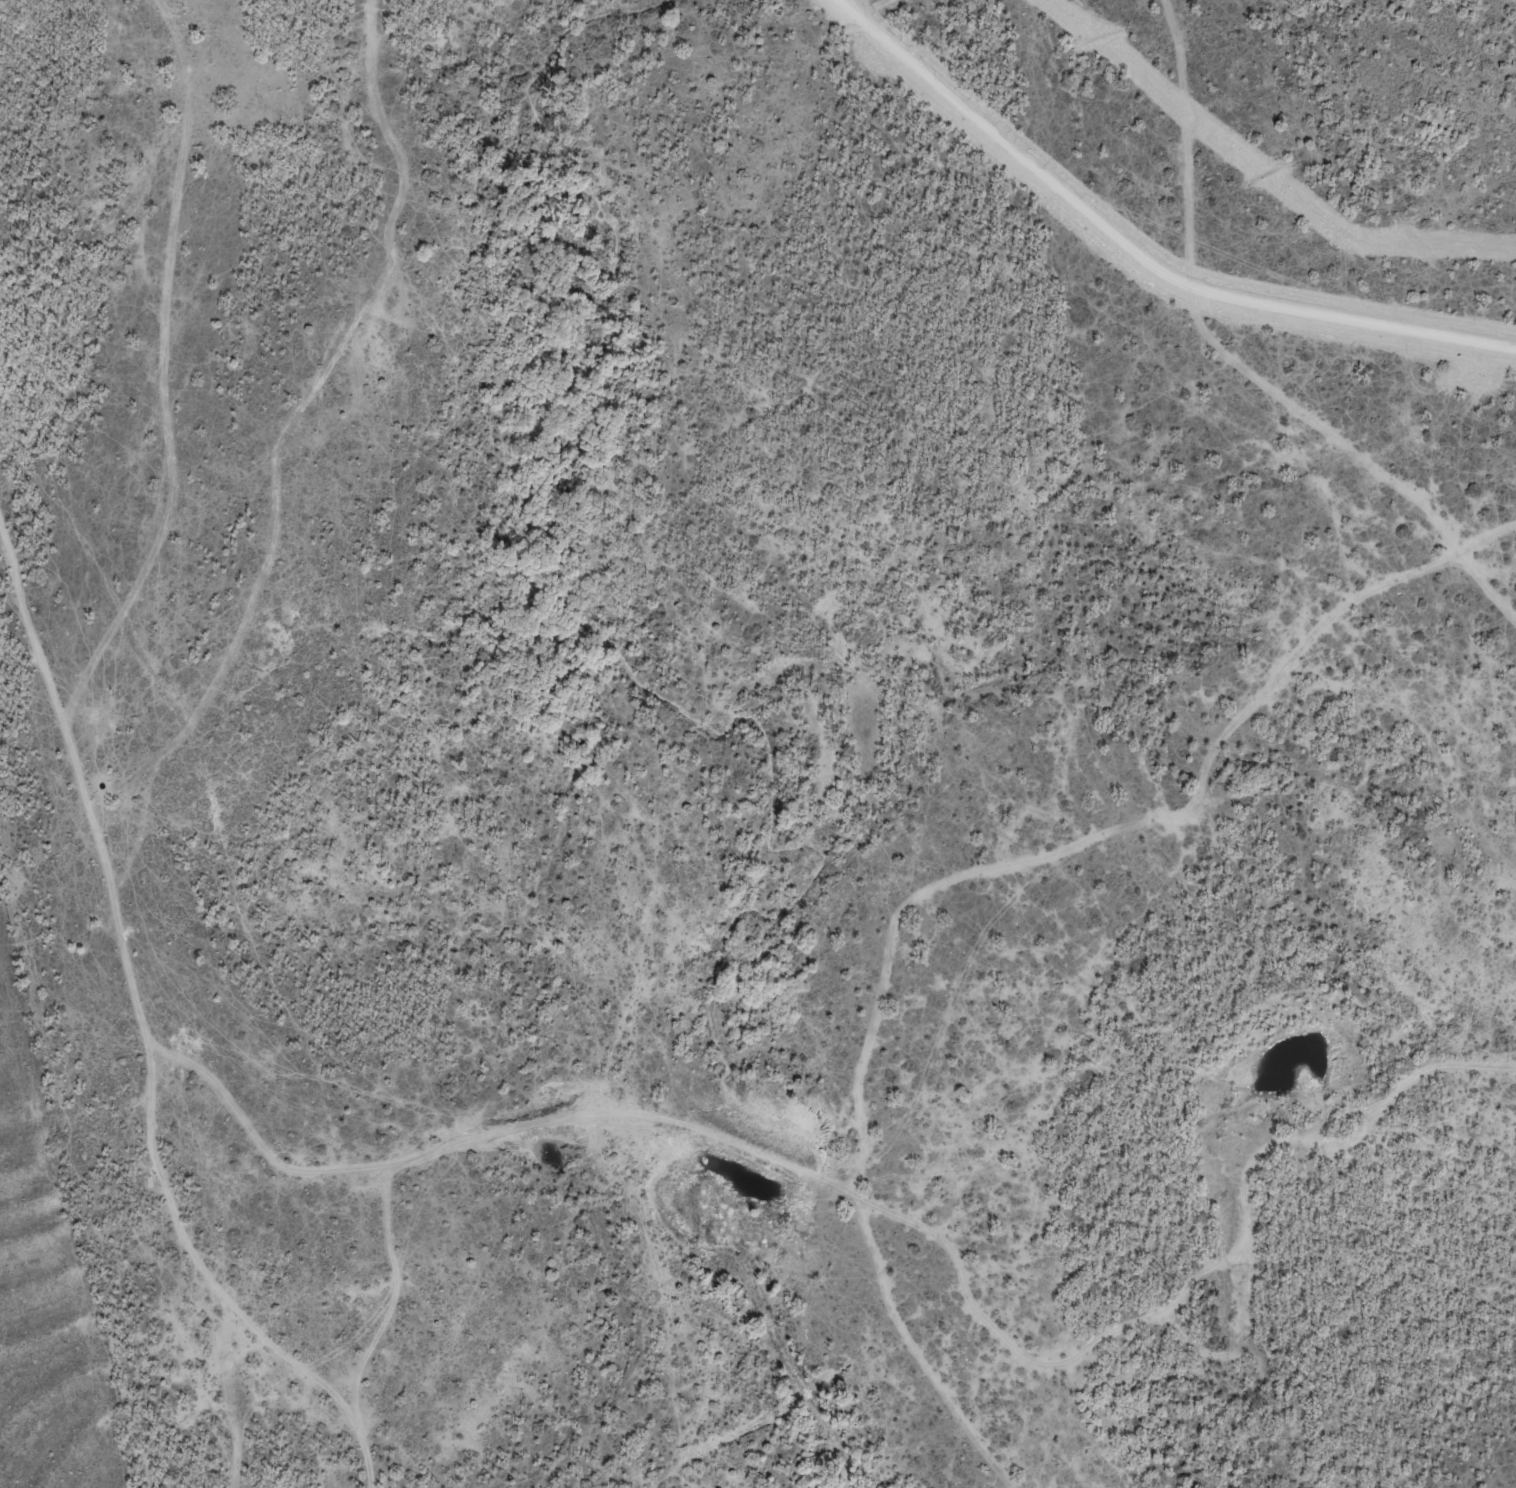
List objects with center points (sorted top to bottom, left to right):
road: (1137, 254)
road: (872, 558)
road: (240, 947)
road: (1123, 1045)

